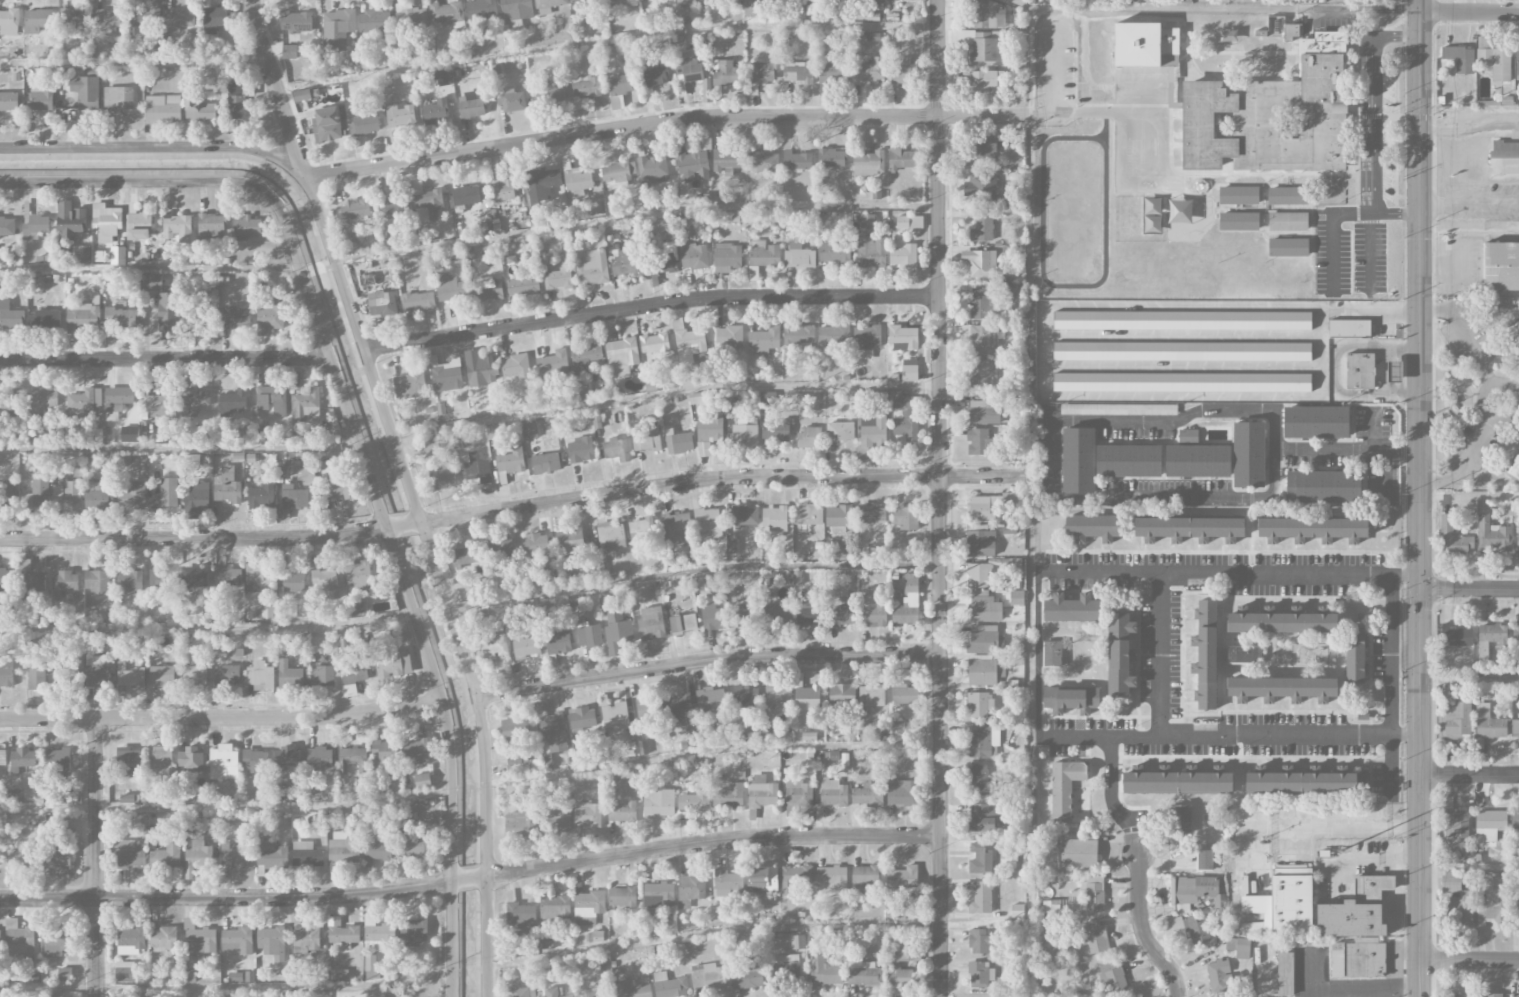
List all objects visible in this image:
building: (583, 0)
building: (690, 2)
building: (547, 5)
building: (753, 7)
road: (1368, 7)
building: (480, 9)
building: (516, 9)
road: (1470, 12)
building: (984, 14)
building: (447, 15)
building: (73, 17)
building: (180, 18)
building: (411, 18)
building: (216, 19)
building: (38, 21)
building: (109, 21)
building: (144, 21)
building: (9, 22)
building: (296, 22)
building: (374, 22)
building: (337, 29)
building: (983, 45)
building: (1145, 45)
building: (289, 52)
building: (1460, 58)
building: (1517, 60)
road: (121, 62)
building: (1496, 62)
building: (688, 67)
building: (870, 70)
building: (762, 71)
building: (902, 71)
building: (724, 72)
building: (798, 72)
building: (832, 73)
building: (655, 76)
building: (444, 77)
building: (983, 82)
building: (621, 84)
road: (274, 90)
building: (585, 90)
building: (85, 92)
building: (548, 92)
building: (302, 95)
road: (1057, 97)
building: (41, 98)
building: (117, 100)
building: (510, 100)
building: (9, 101)
building: (236, 101)
building: (469, 107)
building: (161, 110)
building: (199, 111)
building: (436, 112)
building: (400, 115)
building: (1271, 115)
road: (663, 121)
building: (326, 125)
building: (364, 125)
road: (1368, 126)
road: (1470, 128)
road: (155, 147)
building: (990, 148)
building: (831, 158)
building: (1505, 158)
building: (692, 159)
building: (902, 159)
building: (796, 160)
building: (726, 161)
building: (764, 162)
building: (868, 163)
building: (652, 169)
building: (616, 173)
building: (577, 181)
road: (140, 182)
building: (541, 184)
building: (981, 187)
building: (501, 190)
building: (464, 195)
building: (1238, 195)
building: (1287, 195)
building: (426, 202)
road: (1470, 203)
building: (393, 209)
building: (355, 210)
building: (69, 221)
building: (1238, 221)
building: (1288, 221)
building: (106, 222)
building: (867, 223)
building: (138, 224)
building: (7, 226)
building: (211, 226)
building: (982, 226)
building: (35, 227)
building: (246, 227)
building: (177, 228)
building: (1288, 247)
road: (1369, 248)
building: (871, 251)
building: (835, 253)
building: (902, 254)
building: (80, 255)
building: (117, 255)
building: (798, 255)
building: (693, 256)
building: (727, 257)
building: (762, 257)
building: (628, 262)
building: (980, 262)
building: (663, 263)
building: (1501, 266)
building: (591, 267)
building: (557, 278)
building: (151, 283)
building: (523, 284)
building: (451, 289)
building: (487, 291)
building: (1016, 292)
building: (418, 301)
road: (1484, 301)
building: (981, 302)
building: (382, 303)
road: (650, 305)
road: (1436, 309)
building: (167, 312)
building: (194, 314)
building: (10, 316)
building: (83, 317)
building: (121, 318)
building: (236, 318)
building: (270, 319)
building: (44, 320)
building: (1182, 320)
building: (1349, 328)
building: (1514, 333)
building: (798, 335)
building: (832, 336)
building: (728, 337)
building: (902, 338)
building: (984, 339)
building: (763, 340)
building: (866, 341)
road: (1043, 341)
building: (654, 343)
building: (688, 343)
road: (1472, 346)
building: (1181, 351)
building: (621, 356)
building: (586, 357)
road: (165, 359)
building: (552, 362)
building: (515, 366)
road: (1334, 369)
road: (1384, 369)
building: (909, 370)
building: (1359, 370)
building: (1394, 371)
building: (447, 373)
building: (482, 373)
building: (983, 373)
building: (1181, 382)
building: (409, 385)
building: (118, 398)
building: (767, 399)
building: (272, 400)
building: (10, 401)
building: (41, 401)
building: (194, 401)
building: (232, 402)
building: (85, 404)
building: (157, 404)
building: (306, 406)
building: (1127, 409)
road: (1488, 411)
building: (983, 412)
building: (906, 416)
building: (1316, 422)
road: (1082, 424)
building: (873, 427)
building: (709, 429)
building: (529, 430)
building: (775, 430)
road: (1372, 430)
building: (840, 431)
building: (745, 434)
building: (130, 435)
building: (1188, 436)
building: (809, 437)
building: (645, 439)
building: (678, 441)
building: (978, 442)
building: (431, 444)
building: (580, 449)
building: (617, 449)
building: (862, 452)
building: (1248, 454)
building: (511, 459)
building: (1078, 460)
building: (1128, 460)
building: (1197, 461)
road: (1464, 461)
building: (545, 463)
building: (324, 465)
building: (476, 468)
building: (1515, 469)
road: (1385, 471)
building: (441, 477)
road: (716, 478)
building: (227, 486)
building: (1323, 486)
building: (341, 488)
building: (165, 494)
building: (36, 495)
building: (8, 496)
building: (66, 496)
building: (131, 496)
building: (97, 497)
building: (261, 497)
building: (197, 498)
building: (297, 498)
road: (940, 498)
road: (1420, 498)
building: (1013, 500)
building: (983, 507)
building: (871, 513)
building: (744, 514)
building: (809, 515)
building: (838, 515)
building: (905, 517)
building: (774, 518)
building: (706, 519)
building: (675, 523)
road: (402, 526)
building: (1092, 527)
building: (641, 528)
building: (1189, 529)
building: (1313, 529)
building: (1009, 530)
building: (611, 535)
building: (1493, 535)
building: (1452, 537)
road: (196, 539)
building: (1518, 539)
building: (569, 540)
building: (980, 543)
building: (533, 548)
building: (501, 549)
building: (833, 549)
building: (465, 555)
building: (593, 568)
road: (693, 570)
road: (1229, 574)
building: (978, 575)
traffic signals: (1420, 576)
building: (227, 577)
building: (359, 577)
building: (30, 578)
building: (195, 578)
building: (7, 579)
building: (258, 579)
road: (439, 579)
building: (291, 580)
building: (96, 581)
building: (130, 581)
building: (64, 583)
building: (326, 583)
traffic signals: (1420, 590)
road: (1469, 590)
road: (407, 591)
building: (1016, 597)
building: (907, 603)
building: (357, 607)
building: (1071, 608)
building: (810, 613)
building: (844, 613)
building: (744, 615)
building: (778, 615)
building: (873, 615)
building: (477, 617)
building: (714, 617)
building: (1282, 622)
building: (651, 623)
building: (682, 623)
building: (616, 631)
building: (1516, 633)
building: (588, 634)
building: (1457, 635)
building: (346, 638)
building: (983, 639)
building: (558, 642)
building: (1489, 642)
building: (494, 644)
building: (525, 646)
building: (1051, 653)
building: (1120, 653)
road: (1039, 654)
building: (1206, 654)
building: (1243, 654)
building: (1355, 654)
road: (1161, 655)
road: (707, 659)
building: (393, 665)
building: (982, 670)
building: (6, 671)
building: (97, 672)
building: (352, 673)
building: (226, 675)
building: (33, 676)
building: (162, 676)
building: (261, 676)
building: (289, 676)
building: (322, 676)
building: (65, 678)
building: (132, 678)
road: (1393, 685)
building: (1281, 688)
building: (776, 694)
building: (842, 694)
building: (904, 694)
building: (871, 695)
building: (709, 697)
building: (807, 698)
building: (1071, 700)
building: (747, 702)
building: (980, 704)
building: (649, 709)
building: (680, 710)
building: (614, 714)
road: (221, 717)
building: (581, 719)
building: (1489, 723)
building: (513, 727)
building: (1515, 728)
building: (553, 732)
road: (1229, 736)
building: (983, 740)
building: (384, 751)
building: (416, 752)
building: (288, 756)
building: (3, 757)
building: (319, 758)
building: (22, 759)
building: (353, 759)
building: (190, 760)
building: (57, 761)
building: (129, 761)
building: (161, 761)
building: (255, 762)
building: (224, 765)
road: (1469, 776)
building: (980, 780)
building: (423, 781)
building: (1177, 782)
building: (1307, 782)
road: (1111, 784)
building: (364, 785)
building: (1064, 788)
building: (762, 791)
building: (833, 792)
building: (902, 792)
building: (798, 794)
building: (729, 795)
building: (868, 795)
building: (17, 796)
building: (70, 796)
building: (693, 801)
building: (659, 803)
building: (622, 811)
building: (587, 814)
building: (408, 816)
building: (1180, 818)
building: (556, 819)
building: (1515, 819)
building: (982, 821)
building: (519, 824)
building: (1455, 824)
building: (1489, 824)
road: (1308, 827)
road: (706, 841)
building: (420, 844)
building: (343, 849)
building: (378, 850)
building: (1078, 853)
building: (306, 854)
building: (130, 855)
road: (95, 856)
building: (166, 857)
building: (233, 857)
building: (273, 857)
road: (1363, 857)
building: (58, 858)
building: (197, 858)
building: (21, 859)
building: (979, 859)
building: (1204, 860)
building: (864, 875)
building: (761, 876)
building: (832, 876)
building: (902, 877)
road: (468, 878)
building: (795, 878)
building: (1453, 880)
building: (728, 883)
building: (690, 889)
building: (1197, 890)
building: (1093, 892)
building: (658, 895)
road: (231, 896)
building: (622, 896)
building: (979, 897)
building: (1515, 904)
building: (1489, 905)
building: (554, 907)
building: (588, 907)
building: (1459, 908)
building: (1356, 910)
building: (895, 913)
road: (1140, 916)
building: (519, 918)
building: (1197, 930)
building: (413, 933)
building: (344, 936)
building: (1094, 936)
building: (379, 937)
building: (164, 939)
building: (238, 940)
building: (56, 941)
building: (131, 941)
building: (272, 941)
building: (305, 941)
building: (797, 941)
building: (980, 941)
building: (0, 942)
building: (201, 943)
building: (19, 944)
building: (1242, 948)
building: (901, 956)
building: (1358, 958)
road: (1469, 962)
building: (786, 966)
building: (824, 970)
building: (125, 972)
building: (1285, 973)
building: (65, 974)
building: (745, 974)
building: (863, 974)
building: (978, 974)
building: (339, 975)
building: (708, 975)
building: (898, 976)
building: (1219, 976)
building: (1112, 977)
building: (668, 985)
building: (633, 988)
building: (592, 991)
building: (519, 992)
building: (553, 993)
building: (1457, 995)
building: (1491, 995)

